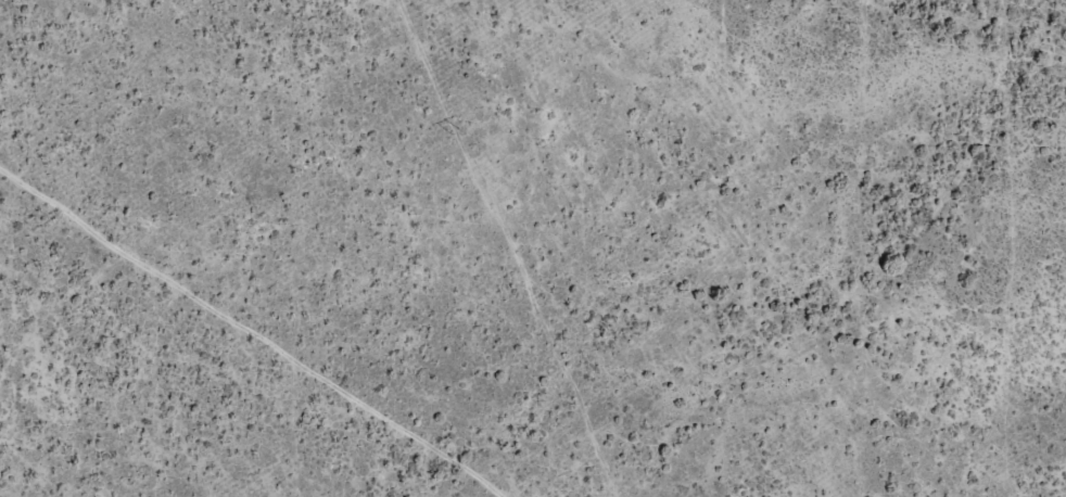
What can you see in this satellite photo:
power tower: (457, 131)
road: (308, 328)

